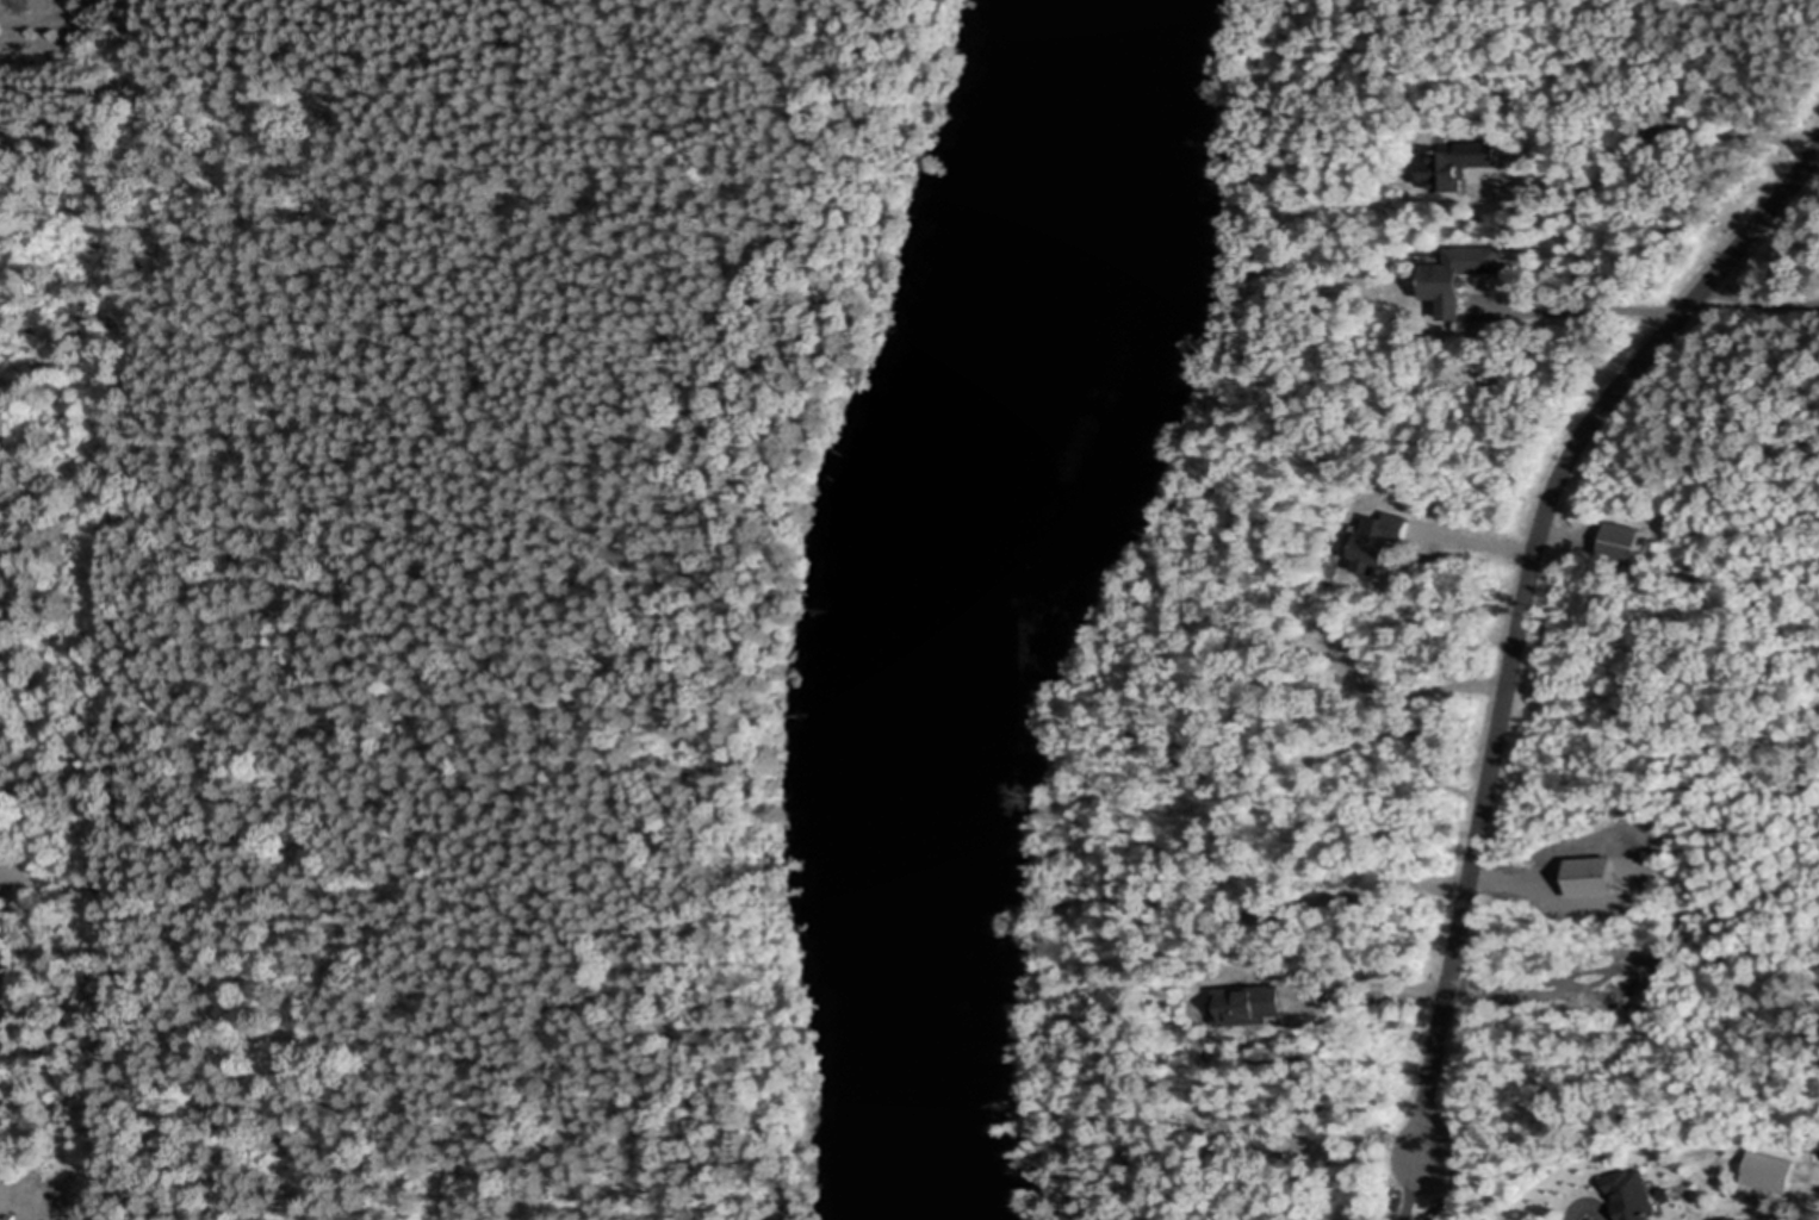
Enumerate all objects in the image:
road: (1688, 130)
building: (1464, 163)
building: (1461, 275)
road: (1759, 304)
road: (1616, 312)
building: (1625, 543)
river: (960, 603)
road: (1522, 606)
building: (1343, 636)
road: (6, 1020)

